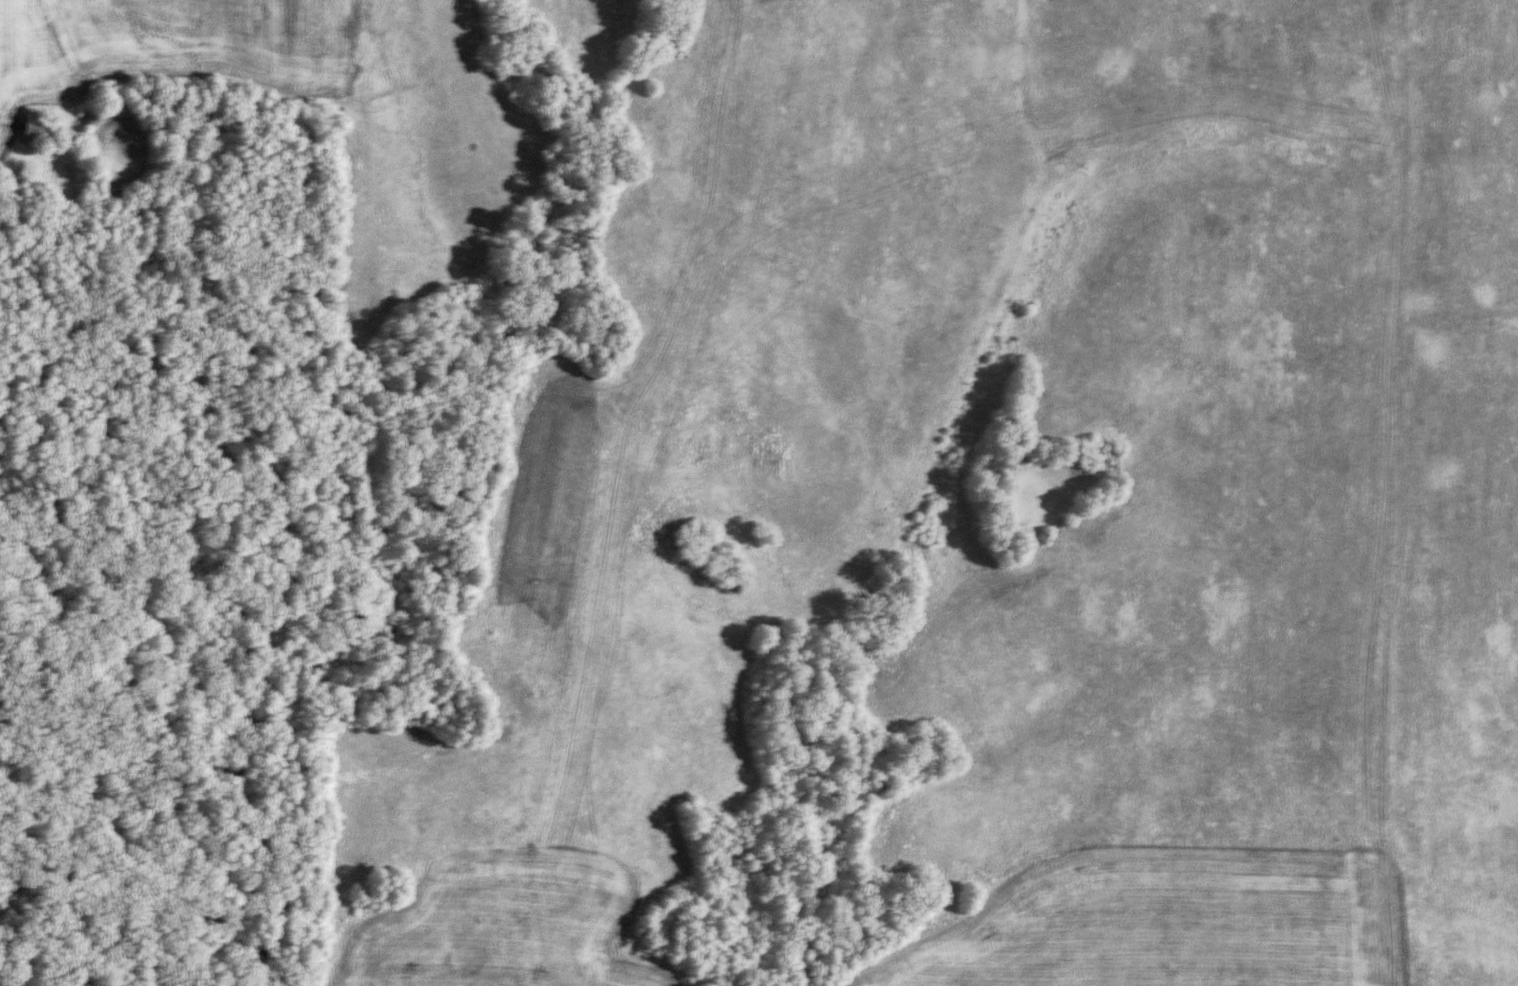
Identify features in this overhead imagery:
building: (35, 127)

